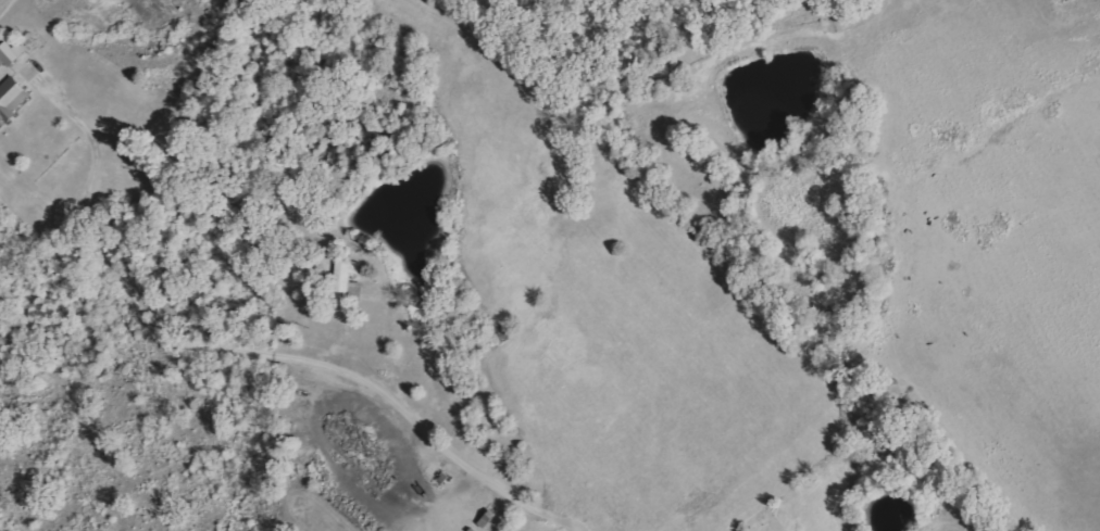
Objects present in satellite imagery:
building: (12, 53)
building: (13, 98)
building: (350, 281)
road: (252, 346)

